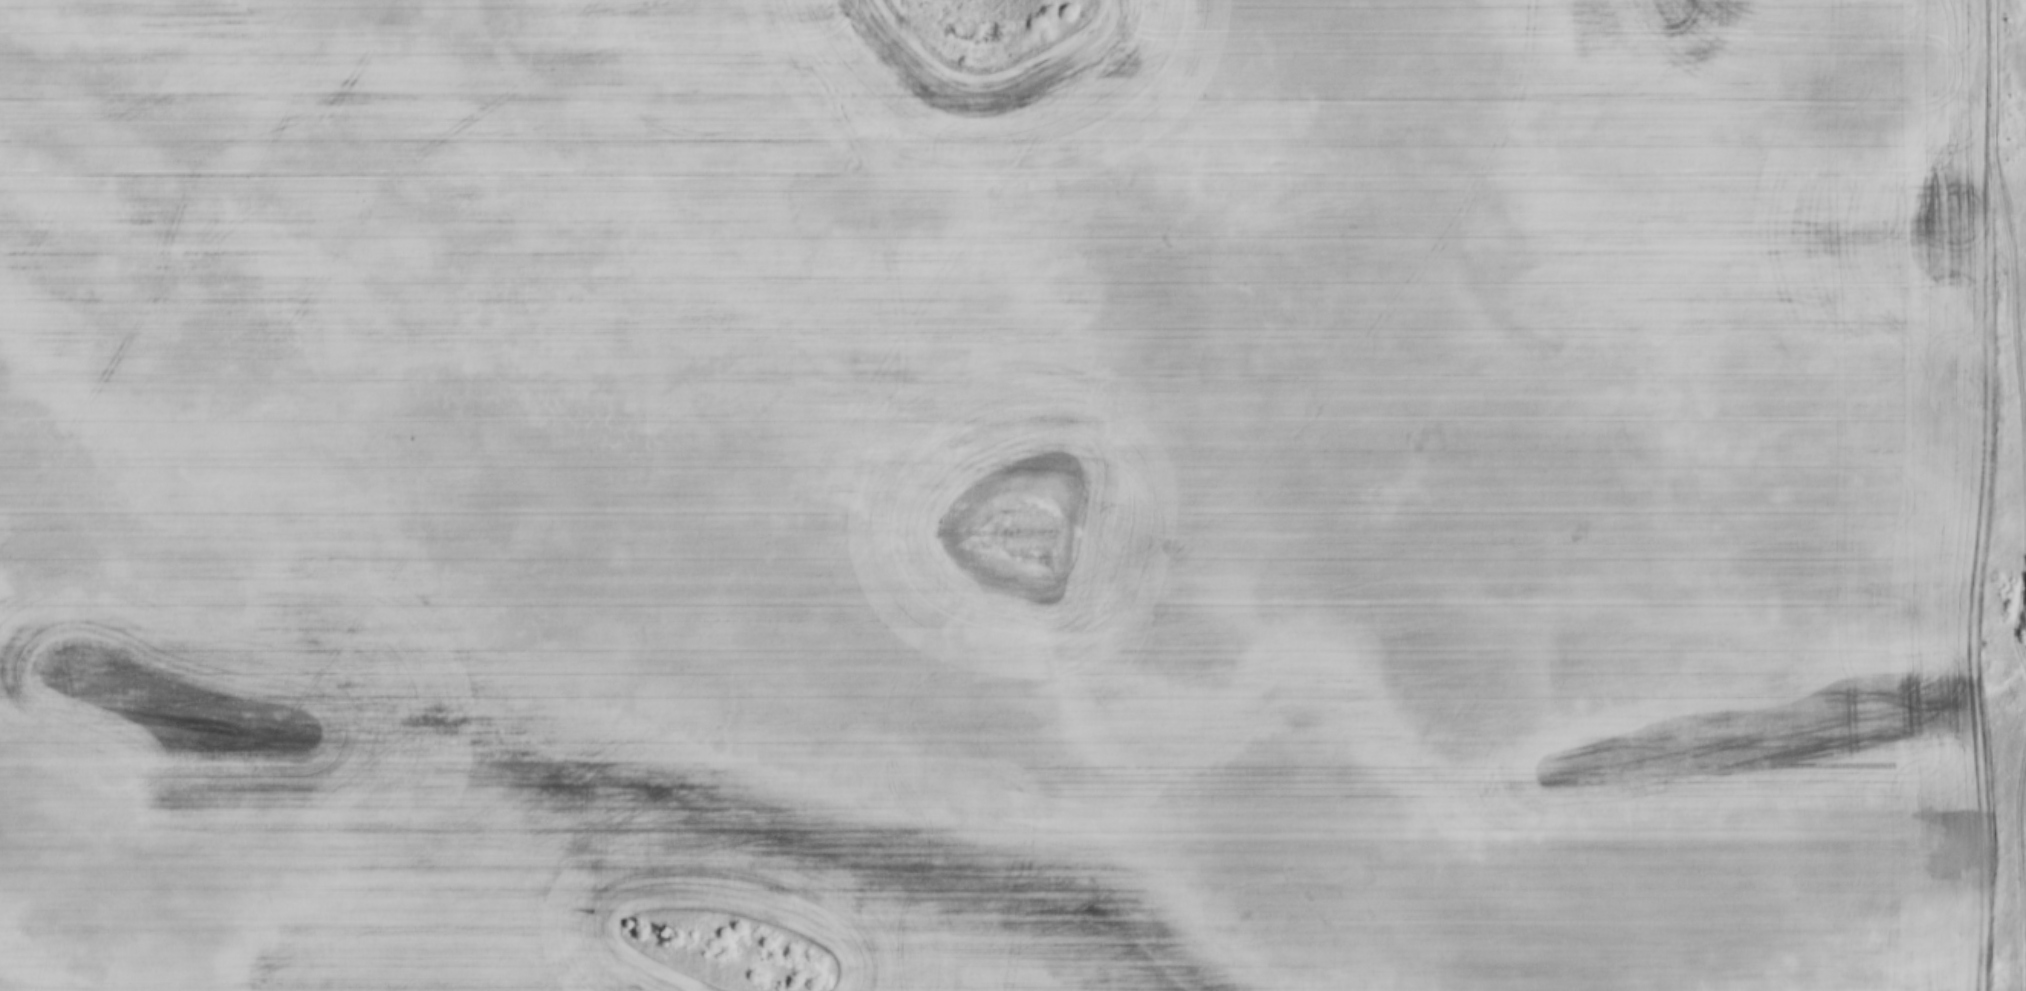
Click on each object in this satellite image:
road: (2007, 224)
road: (2021, 866)

